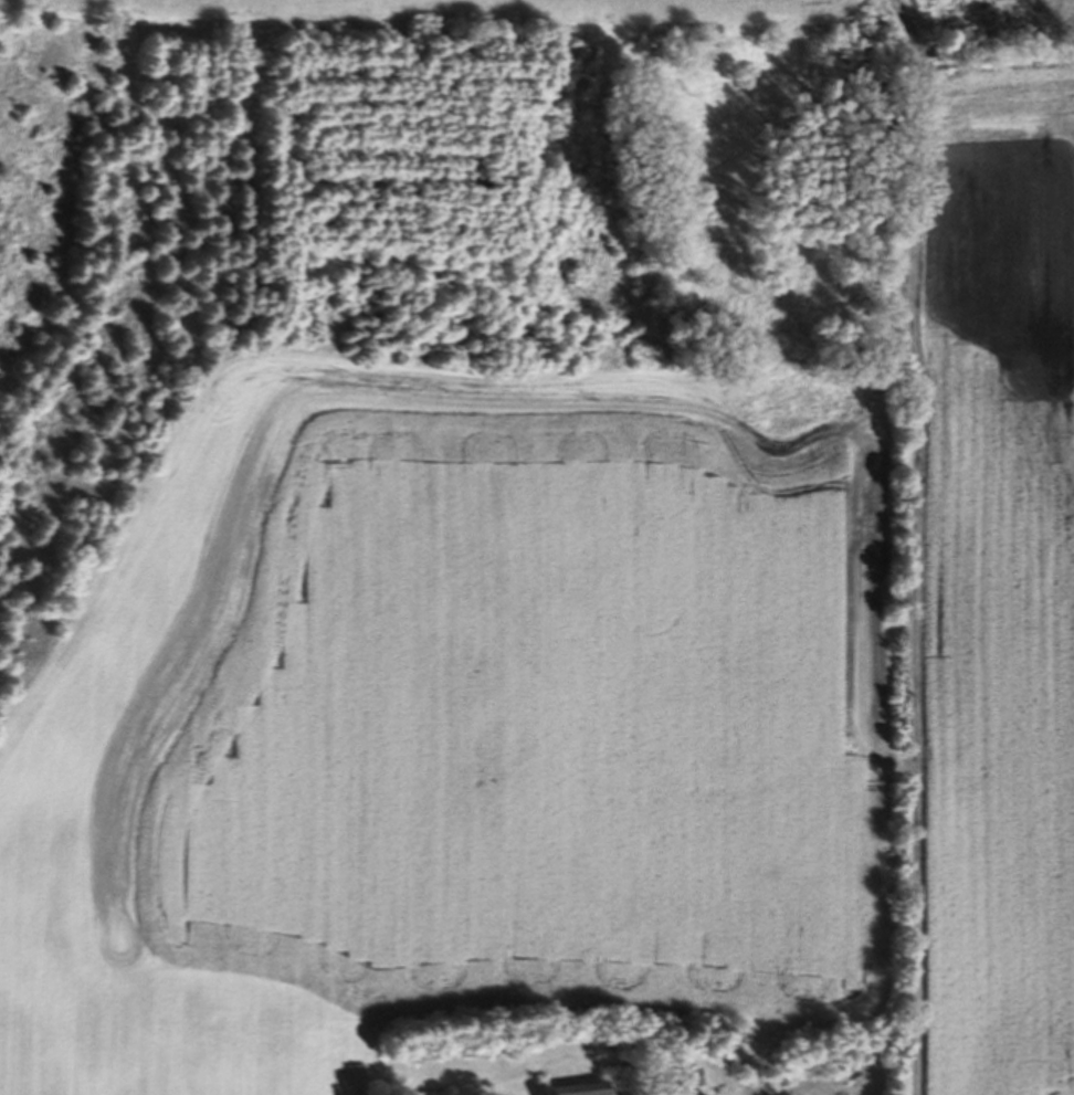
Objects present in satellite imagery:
building: (688, 1082)
building: (572, 1091)

